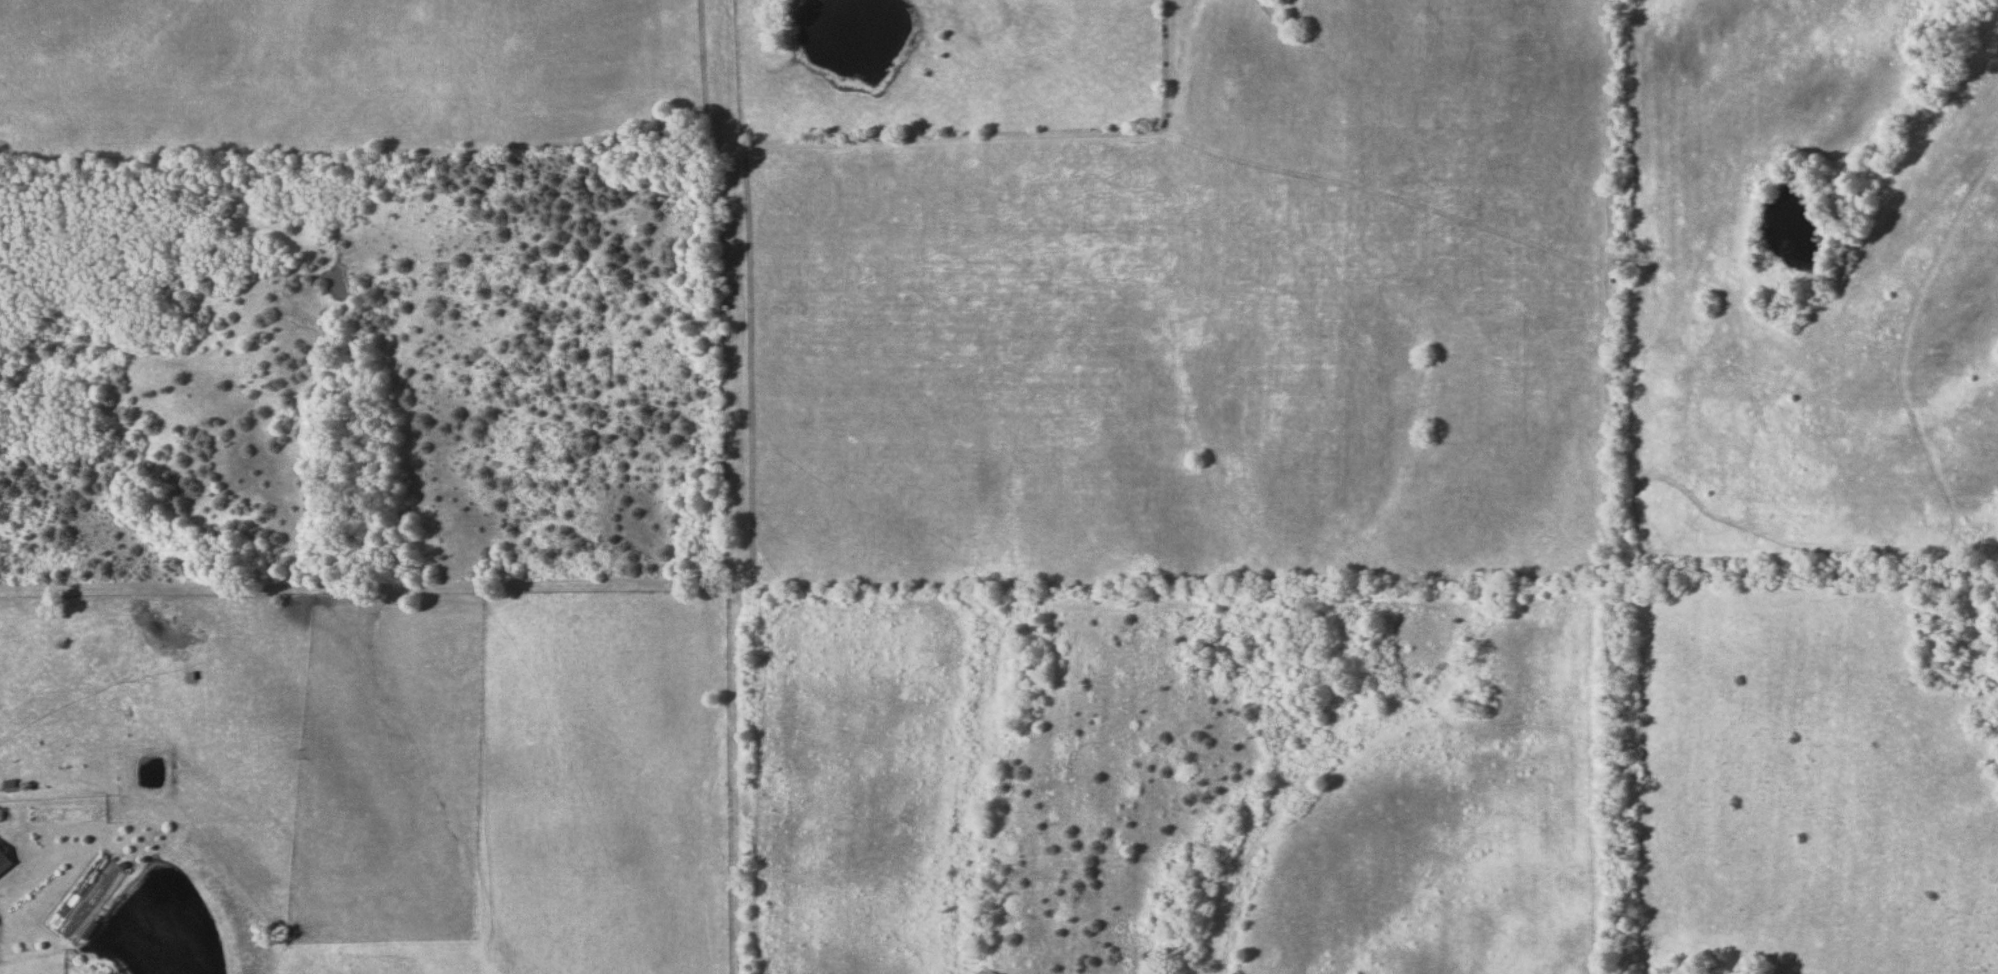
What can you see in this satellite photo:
building: (4, 862)

